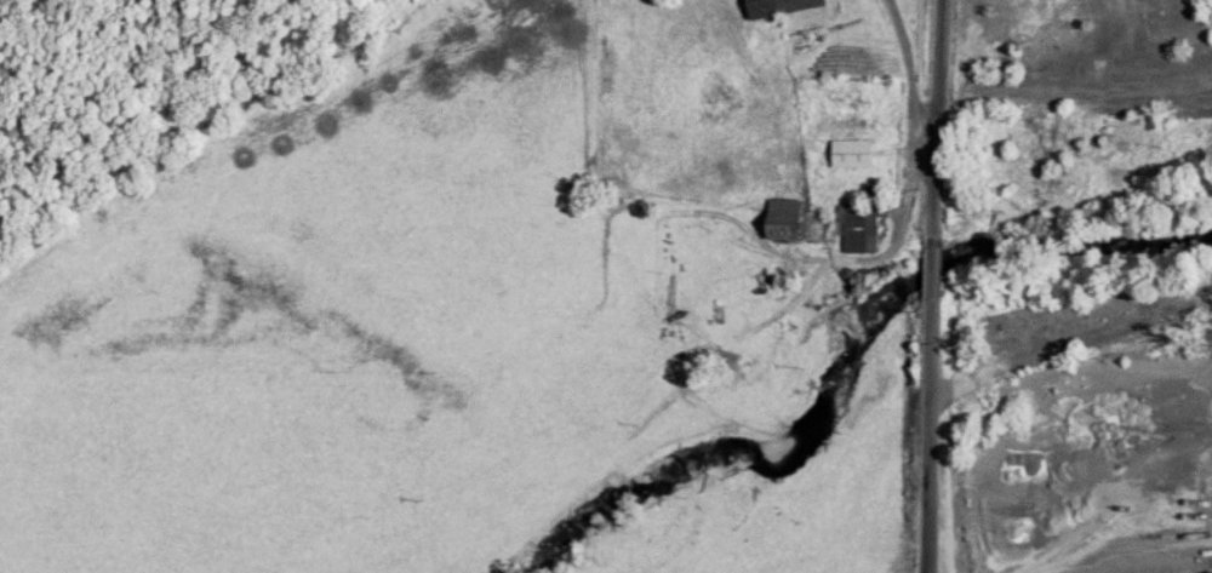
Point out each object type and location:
building: (778, 7)
road: (908, 70)
road: (942, 121)
building: (851, 153)
building: (783, 219)
building: (858, 229)
road: (936, 273)
road: (932, 436)
road: (1131, 555)

